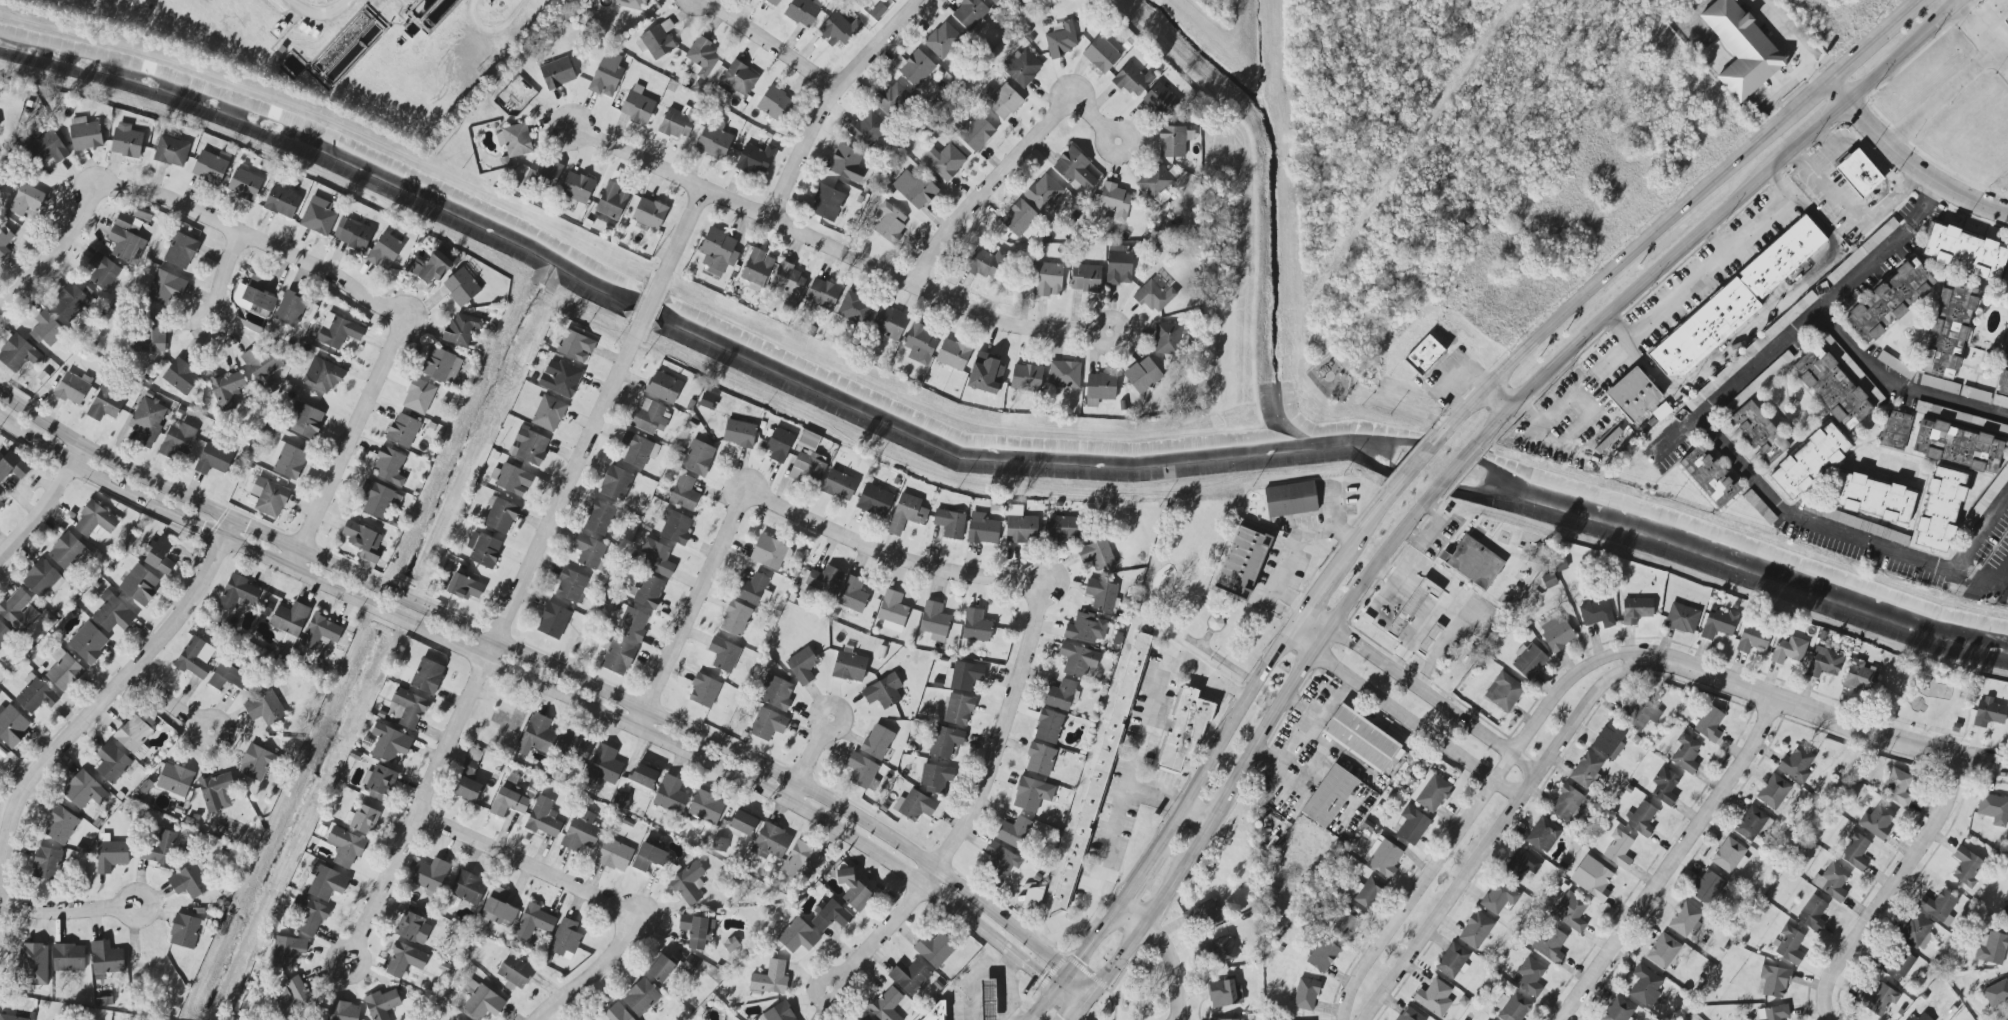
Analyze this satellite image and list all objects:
building: (887, 0)
building: (994, 1)
building: (772, 2)
building: (631, 4)
building: (803, 11)
building: (969, 13)
road: (1989, 15)
road: (1694, 19)
building: (2006, 22)
gas station: (2006, 22)
road: (325, 25)
building: (840, 29)
road: (1790, 39)
building: (658, 40)
building: (942, 40)
building: (1062, 40)
road: (774, 44)
building: (1741, 48)
road: (1906, 51)
building: (1103, 53)
building: (702, 58)
road: (1846, 59)
road: (1998, 60)
road: (2004, 60)
building: (914, 67)
building: (1022, 67)
building: (557, 73)
building: (607, 75)
road: (1958, 78)
building: (738, 79)
building: (1133, 80)
road: (1839, 88)
road: (835, 99)
building: (892, 99)
building: (1159, 100)
building: (1001, 101)
building: (775, 104)
building: (637, 105)
building: (678, 123)
road: (1820, 124)
building: (868, 130)
building: (976, 133)
building: (85, 135)
building: (515, 140)
building: (713, 140)
building: (126, 141)
building: (1172, 142)
building: (48, 148)
building: (171, 151)
building: (755, 159)
road: (1821, 159)
building: (945, 161)
building: (847, 163)
building: (210, 168)
building: (1074, 169)
road: (1920, 169)
building: (543, 173)
road: (1012, 174)
building: (1859, 175)
building: (1155, 181)
building: (244, 185)
building: (577, 187)
building: (915, 189)
building: (1044, 194)
building: (26, 200)
building: (612, 201)
building: (282, 202)
building: (1114, 202)
building: (827, 203)
building: (649, 213)
building: (318, 216)
building: (1018, 218)
road: (1865, 221)
building: (890, 223)
road: (686, 232)
building: (352, 234)
building: (125, 240)
road: (1714, 240)
building: (4, 241)
road: (64, 242)
road: (271, 243)
road: (839, 247)
building: (181, 251)
building: (385, 251)
building: (718, 251)
building: (1862, 251)
building: (1965, 252)
building: (987, 263)
building: (1119, 265)
building: (429, 267)
road: (1709, 267)
building: (757, 268)
building: (103, 271)
building: (1085, 278)
building: (1049, 279)
building: (788, 280)
road: (225, 284)
building: (166, 287)
building: (461, 287)
building: (822, 293)
building: (1153, 296)
building: (254, 300)
road: (651, 300)
building: (69, 301)
building: (1735, 301)
building: (1889, 301)
building: (855, 308)
building: (290, 309)
road: (1556, 319)
road: (1758, 320)
building: (889, 323)
road: (1839, 327)
building: (46, 329)
building: (461, 329)
building: (1949, 330)
building: (338, 331)
building: (150, 336)
building: (1167, 339)
building: (920, 343)
building: (575, 346)
building: (1754, 348)
building: (18, 354)
building: (953, 354)
building: (1424, 355)
building: (262, 364)
building: (1895, 365)
building: (441, 366)
building: (1851, 369)
road: (1546, 371)
building: (986, 373)
building: (1064, 374)
building: (1142, 375)
building: (323, 376)
building: (181, 377)
building: (560, 378)
building: (1026, 378)
building: (2004, 379)
building: (1939, 384)
building: (1100, 386)
building: (663, 387)
building: (1832, 387)
building: (72, 389)
building: (228, 389)
building: (1633, 394)
building: (1979, 395)
building: (419, 396)
road: (1496, 398)
building: (707, 401)
building: (106, 403)
building: (1999, 403)
building: (547, 413)
building: (649, 417)
building: (1758, 417)
building: (306, 421)
building: (147, 422)
building: (404, 430)
building: (1895, 430)
building: (739, 433)
building: (177, 440)
building: (808, 440)
road: (352, 443)
building: (779, 445)
building: (529, 446)
building: (1957, 446)
building: (698, 458)
building: (213, 459)
building: (288, 460)
building: (1809, 461)
building: (389, 466)
building: (807, 468)
building: (1709, 477)
building: (513, 480)
building: (616, 484)
building: (839, 485)
road: (1766, 490)
building: (684, 493)
building: (269, 497)
building: (1873, 498)
building: (378, 499)
building: (1290, 499)
road: (45, 501)
building: (874, 501)
building: (1, 505)
building: (1759, 507)
building: (1940, 509)
building: (906, 513)
building: (501, 516)
building: (599, 518)
building: (95, 519)
building: (949, 523)
building: (1020, 526)
building: (1863, 526)
building: (675, 527)
building: (1063, 528)
building: (982, 529)
road: (1980, 530)
building: (363, 541)
road: (894, 548)
road: (1292, 548)
building: (483, 549)
building: (66, 550)
building: (770, 552)
building: (590, 553)
building: (160, 555)
building: (1096, 555)
building: (655, 558)
building: (1474, 562)
building: (1241, 563)
road: (1999, 567)
road: (1324, 578)
building: (42, 579)
building: (823, 580)
building: (1548, 580)
building: (139, 584)
building: (571, 585)
building: (464, 587)
building: (753, 590)
building: (649, 591)
building: (237, 592)
building: (852, 594)
building: (1101, 595)
building: (1413, 607)
road: (693, 609)
building: (18, 610)
building: (1636, 610)
building: (892, 611)
building: (113, 613)
building: (1597, 614)
building: (735, 618)
building: (1681, 618)
building: (553, 620)
building: (290, 621)
building: (934, 621)
road: (1313, 622)
building: (1214, 623)
building: (632, 624)
building: (1718, 624)
building: (976, 625)
road: (502, 628)
building: (1085, 628)
building: (4, 633)
building: (1556, 633)
road: (1304, 635)
road: (1321, 638)
building: (1429, 639)
building: (1752, 639)
building: (88, 643)
road: (1361, 646)
building: (1788, 650)
building: (723, 654)
building: (618, 657)
building: (193, 659)
building: (1077, 660)
building: (1529, 661)
building: (1824, 662)
road: (544, 665)
building: (802, 665)
building: (849, 667)
road: (1577, 670)
building: (64, 671)
building: (427, 676)
building: (963, 676)
building: (227, 677)
building: (1859, 677)
road: (538, 685)
building: (704, 691)
building: (776, 692)
building: (882, 692)
building: (1503, 692)
building: (35, 695)
building: (1061, 695)
road: (1592, 695)
road: (181, 708)
building: (264, 708)
building: (409, 708)
road: (103, 709)
building: (958, 709)
road: (1452, 712)
building: (1989, 712)
building: (1641, 714)
road: (1403, 716)
building: (146, 719)
road: (1841, 721)
building: (768, 724)
building: (1709, 724)
building: (12, 725)
road: (1305, 725)
building: (1048, 726)
building: (1184, 729)
building: (2007, 733)
road: (1224, 735)
building: (134, 736)
building: (536, 736)
road: (1260, 736)
building: (1361, 739)
building: (1609, 739)
building: (946, 741)
building: (877, 742)
building: (390, 743)
building: (572, 745)
building: (1685, 753)
building: (1040, 759)
road: (810, 761)
building: (112, 763)
building: (255, 763)
building: (604, 764)
road: (1524, 764)
building: (1796, 764)
road: (1133, 769)
building: (1586, 770)
building: (861, 771)
building: (935, 777)
building: (468, 779)
building: (639, 780)
building: (174, 781)
building: (378, 783)
building: (1664, 786)
building: (1898, 787)
building: (81, 789)
road: (1507, 790)
building: (216, 791)
building: (1773, 791)
building: (1430, 792)
building: (670, 794)
building: (1032, 794)
building: (1329, 795)
building: (508, 801)
road: (1171, 802)
building: (1566, 803)
road: (975, 805)
building: (914, 806)
building: (706, 807)
building: (1993, 809)
building: (543, 818)
building: (364, 819)
building: (1641, 819)
building: (1877, 821)
building: (743, 823)
building: (1750, 824)
building: (60, 825)
building: (1410, 825)
building: (581, 831)
building: (1014, 832)
building: (1543, 835)
building: (770, 842)
building: (719, 844)
road: (1196, 845)
building: (345, 847)
building: (162, 849)
building: (1618, 850)
building: (1855, 851)
building: (110, 854)
building: (614, 855)
building: (1730, 855)
building: (651, 857)
building: (1383, 857)
building: (802, 860)
road: (1671, 861)
building: (999, 863)
building: (46, 864)
building: (1522, 864)
building: (1966, 867)
road: (554, 874)
building: (429, 875)
building: (1592, 878)
road: (1136, 879)
building: (190, 881)
building: (1832, 882)
building: (327, 883)
building: (687, 884)
road: (1420, 885)
building: (1707, 888)
building: (853, 889)
road: (1889, 889)
building: (1368, 892)
road: (1450, 896)
building: (1032, 897)
building: (1499, 897)
building: (1938, 906)
building: (498, 907)
road: (79, 909)
building: (2006, 910)
building: (1570, 912)
building: (1813, 912)
building: (829, 915)
building: (311, 916)
building: (1202, 916)
building: (1684, 919)
building: (533, 921)
building: (1342, 926)
building: (414, 929)
building: (697, 930)
building: (1475, 930)
building: (184, 931)
building: (1916, 931)
building: (798, 936)
road: (1136, 936)
building: (565, 939)
road: (1093, 939)
building: (730, 944)
building: (1550, 946)
building: (1789, 946)
building: (1991, 948)
building: (935, 949)
building: (1218, 949)
road: (1168, 951)
building: (1663, 951)
building: (287, 952)
building: (1322, 955)
building: (68, 957)
building: (106, 958)
traffic signals: (1079, 959)
building: (405, 960)
building: (1453, 960)
building: (34, 964)
building: (690, 965)
building: (1898, 965)
building: (661, 969)
building: (515, 971)
building: (910, 977)
traffic signals: (1042, 977)
building: (1530, 977)
building: (770, 979)
road: (1062, 980)
building: (1774, 981)
building: (1644, 985)
road: (571, 986)
road: (1077, 987)
road: (1006, 988)
building: (1997, 989)
building: (1224, 993)
building: (1306, 994)
building: (292, 995)
road: (1070, 995)
building: (641, 997)
building: (1434, 998)
building: (1881, 999)
building: (986, 1000)
gas station: (986, 1000)
building: (483, 1003)
building: (381, 1004)
road: (1042, 1004)
building: (886, 1005)
building: (1511, 1007)
building: (1617, 1010)
building: (343, 1011)
road: (1077, 1011)
building: (617, 1013)
building: (779, 1013)
building: (1773, 1013)
road: (1005, 1014)
building: (1409, 1015)
building: (12, 1018)
building: (1910, 1018)
building: (1227, 1019)

